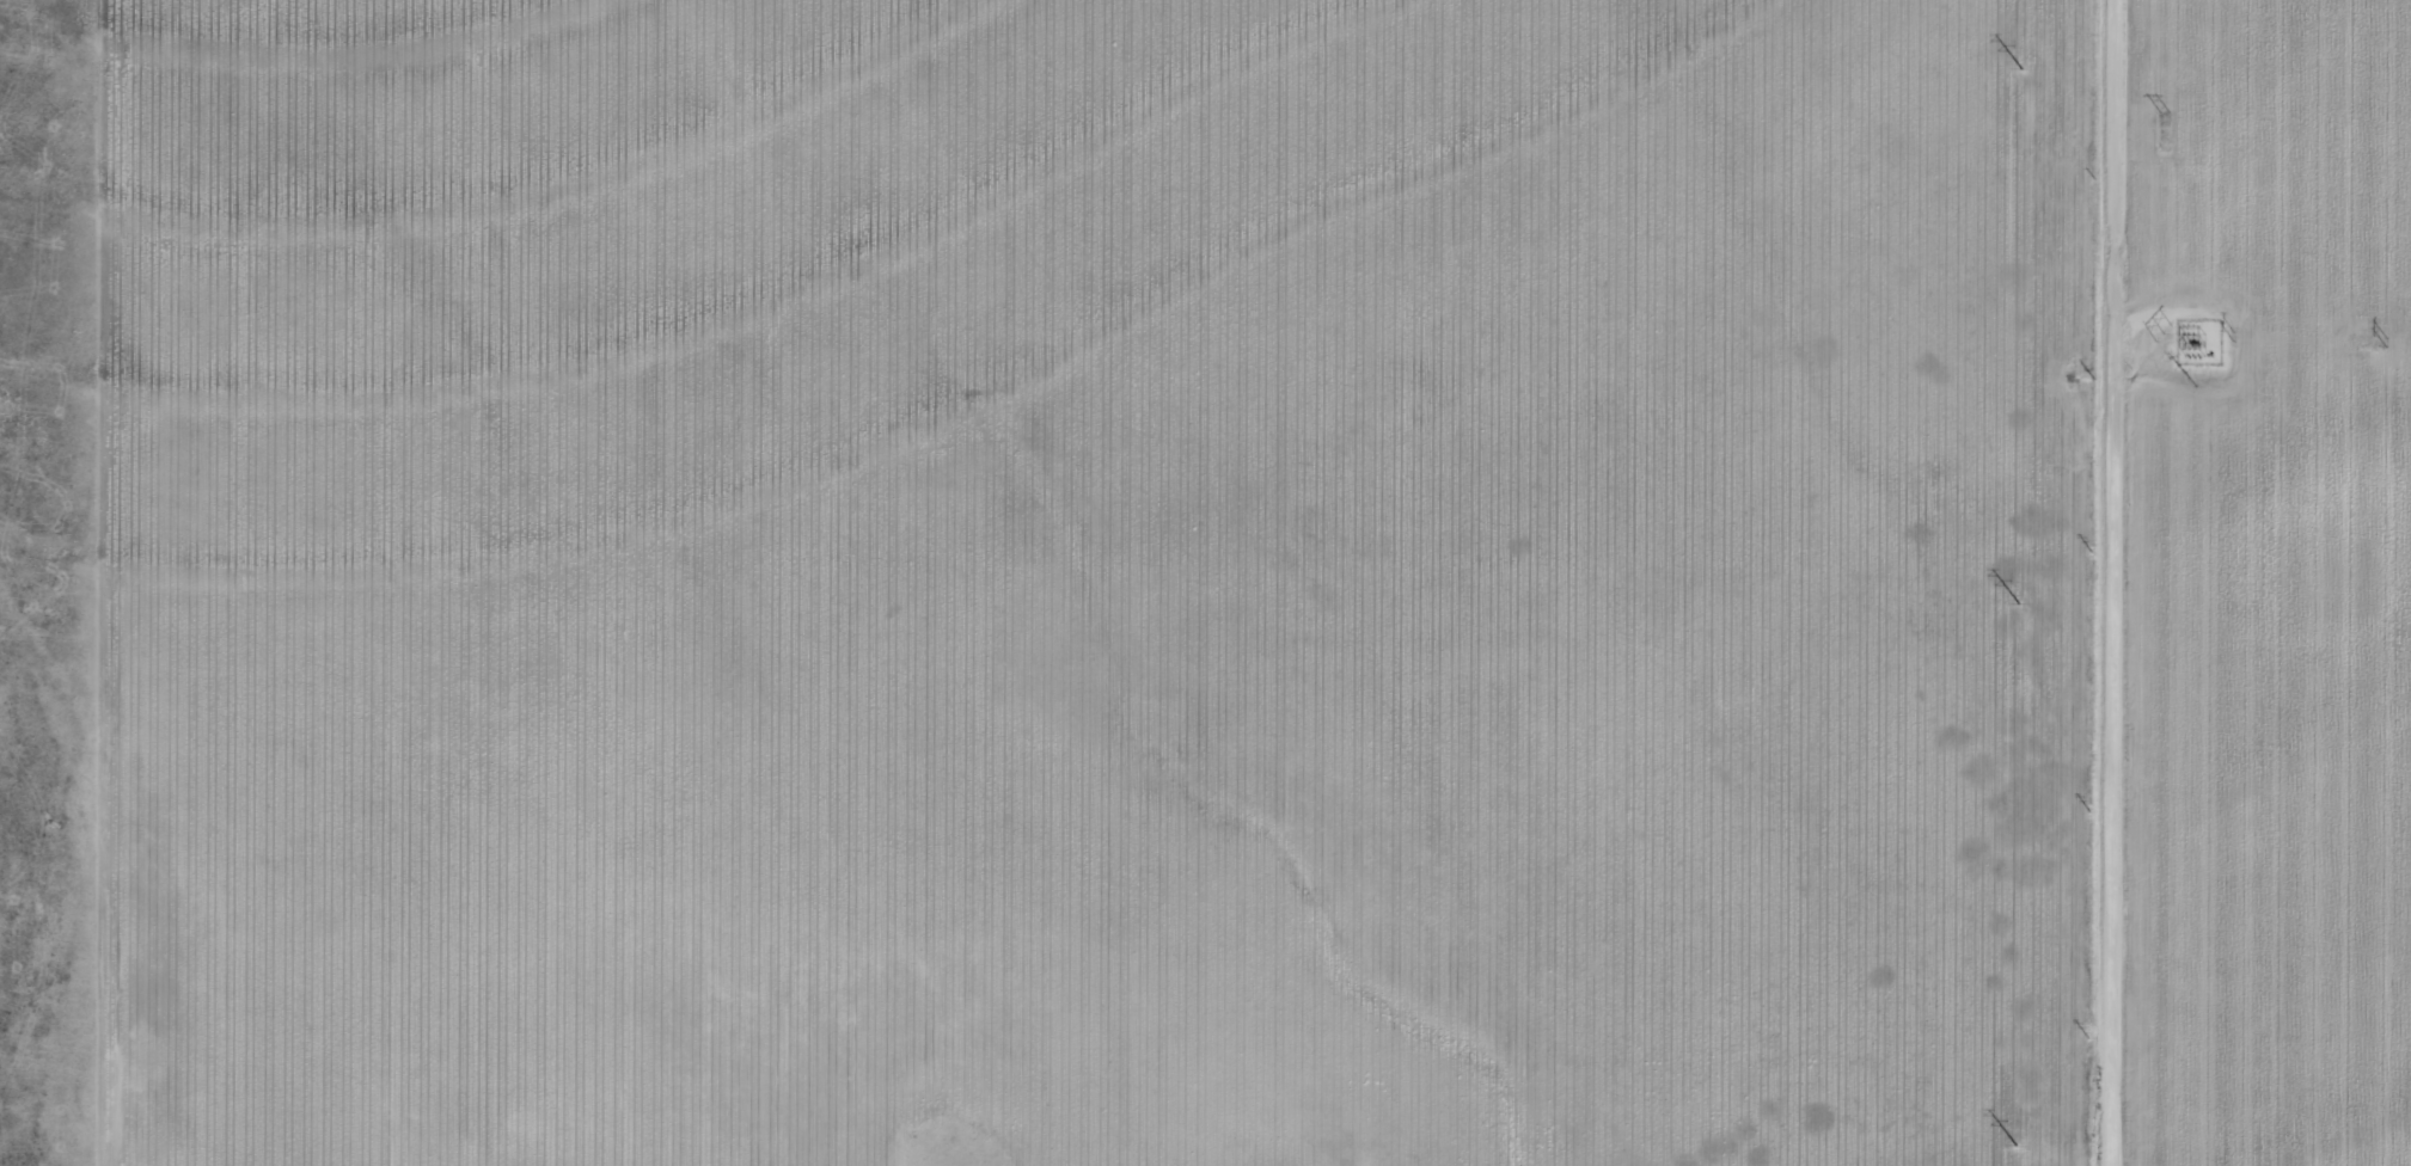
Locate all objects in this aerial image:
power tower: (2006, 72)
power tower: (2161, 111)
power tower: (2233, 335)
power tower: (2165, 336)
power substation: (2199, 340)
power tower: (2384, 342)
power tower: (2193, 379)
road: (2062, 583)
power tower: (2006, 609)
power tower: (2001, 1149)

